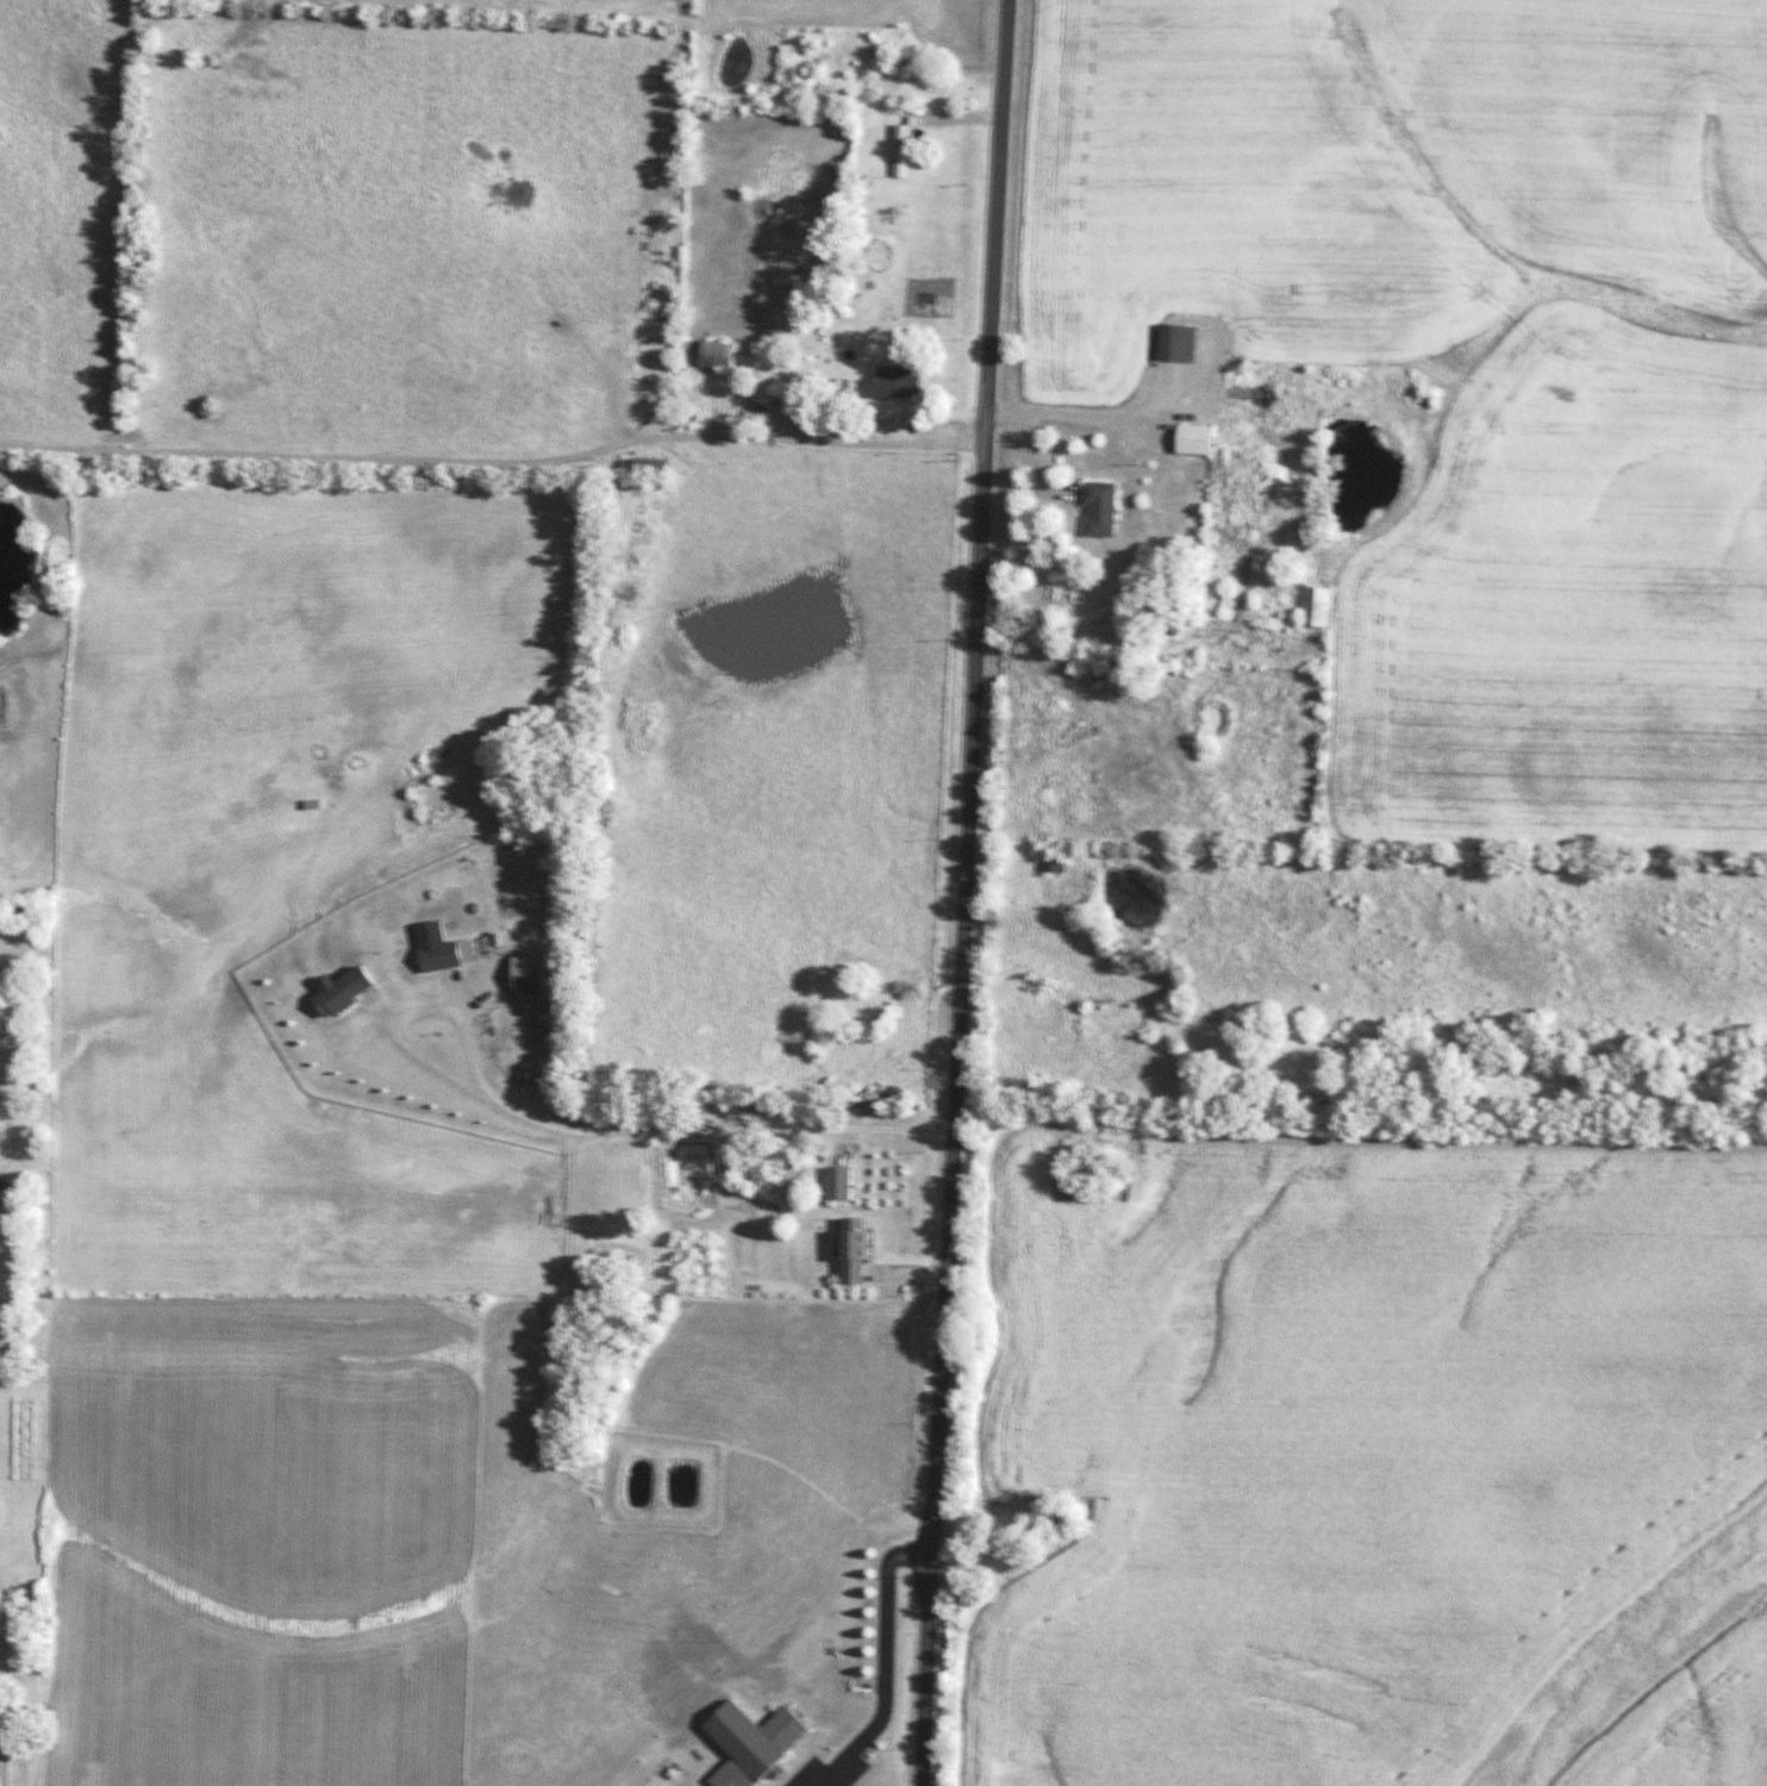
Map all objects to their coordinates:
building: (905, 146)
building: (1182, 343)
building: (720, 355)
building: (905, 382)
building: (1201, 438)
road: (869, 443)
building: (653, 467)
building: (1105, 508)
building: (1323, 606)
building: (1055, 861)
road: (963, 893)
building: (447, 955)
road: (588, 1130)
building: (861, 1250)
road: (883, 1663)
building: (756, 1742)

